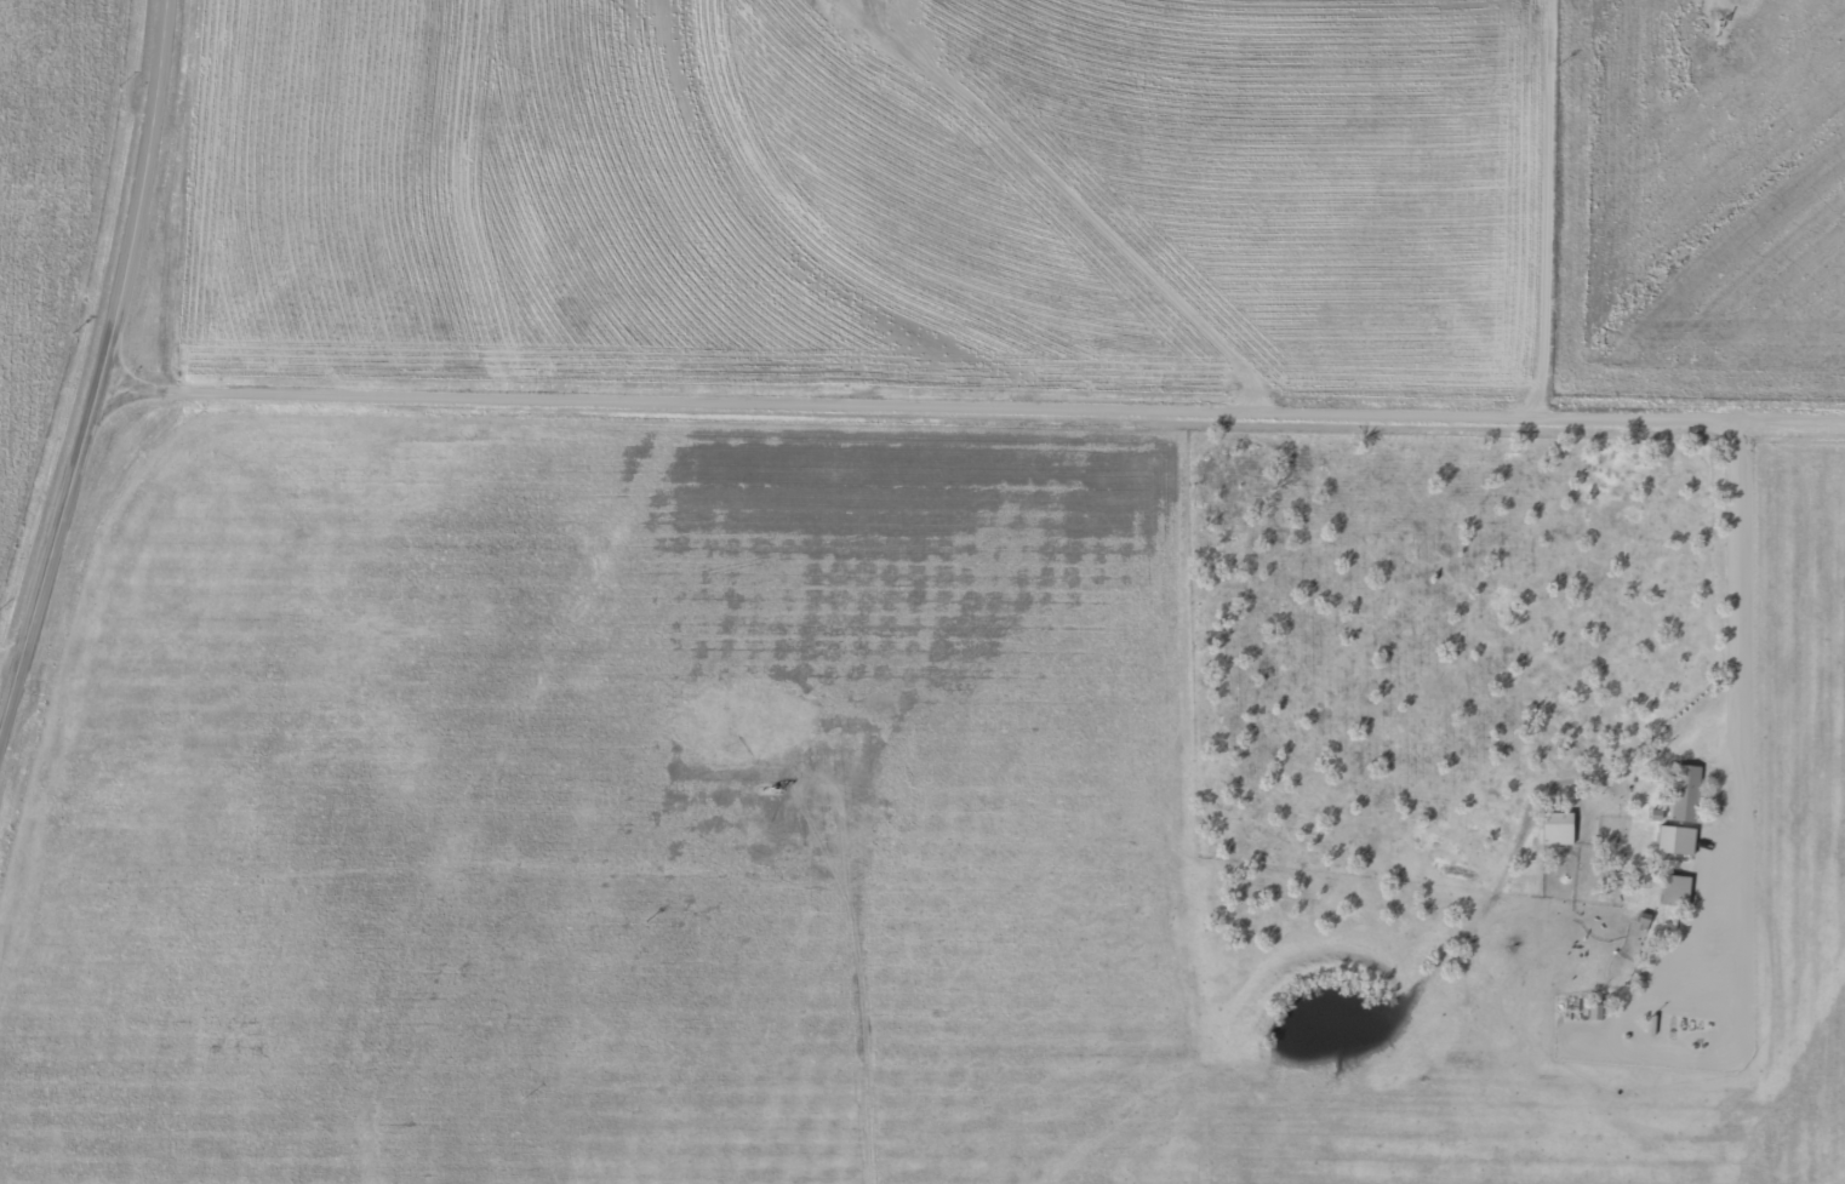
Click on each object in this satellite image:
road: (103, 372)
road: (973, 400)
road: (714, 507)
building: (1558, 829)
building: (1677, 839)
road: (1783, 843)
building: (1677, 890)

